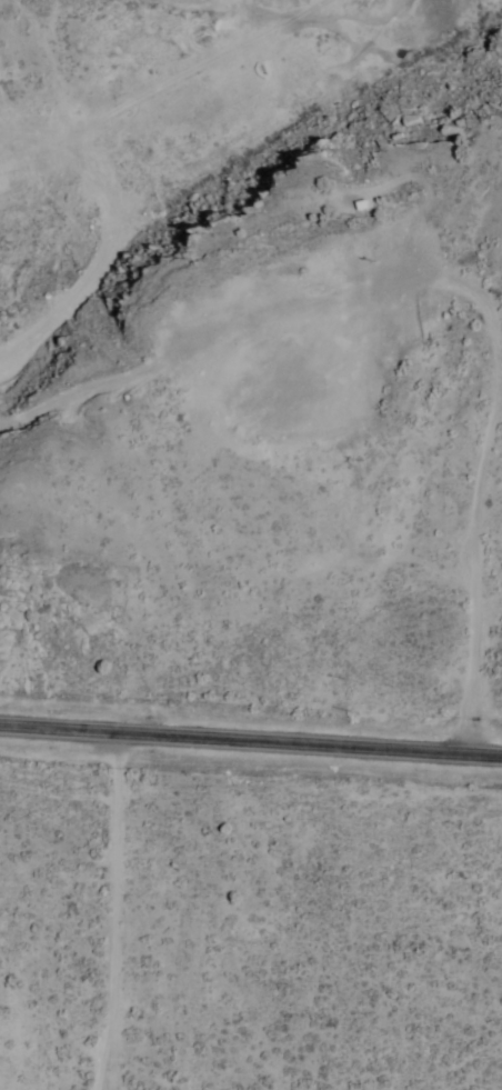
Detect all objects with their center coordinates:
river: (102, 39)
road: (251, 741)

